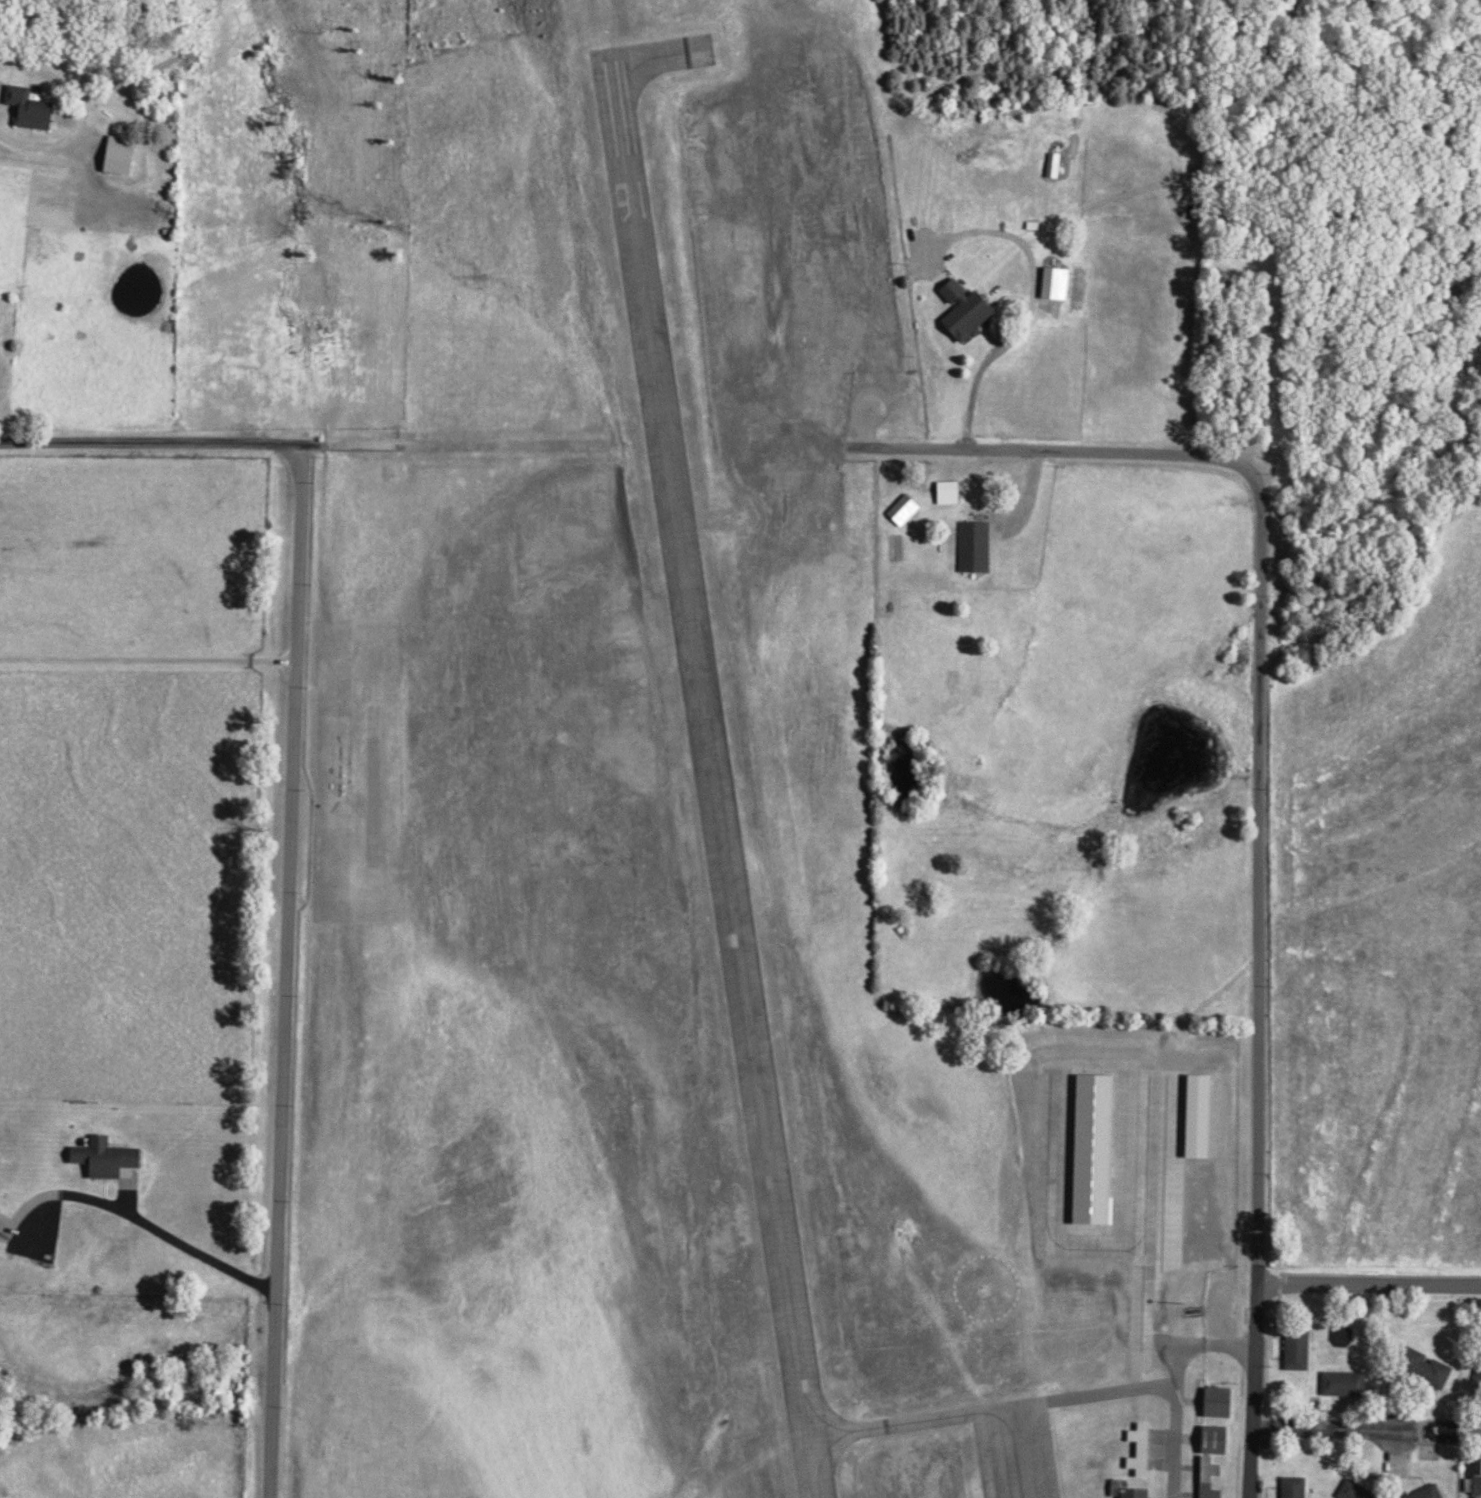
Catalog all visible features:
building: (36, 109)
road: (39, 150)
building: (127, 155)
building: (1058, 165)
building: (1061, 284)
building: (972, 310)
road: (977, 372)
road: (1007, 451)
building: (954, 488)
building: (908, 509)
building: (978, 546)
road: (147, 660)
airport runway: (714, 782)
road: (289, 823)
road: (1263, 953)
building: (1204, 1116)
building: (1100, 1149)
building: (111, 1158)
building: (1, 1211)
road: (153, 1231)
road: (1371, 1283)
building: (1302, 1350)
building: (1438, 1372)
building: (1349, 1384)
building: (1480, 1392)
airport taxiway: (989, 1414)
road: (1394, 1422)
road: (1323, 1427)
road: (1438, 1430)
building: (1443, 1440)
building: (1146, 1450)
airport apron: (1016, 1454)
building: (1213, 1478)
building: (1299, 1487)
building: (1476, 1488)
building: (1133, 1490)
building: (1359, 1491)
building: (1433, 1493)

